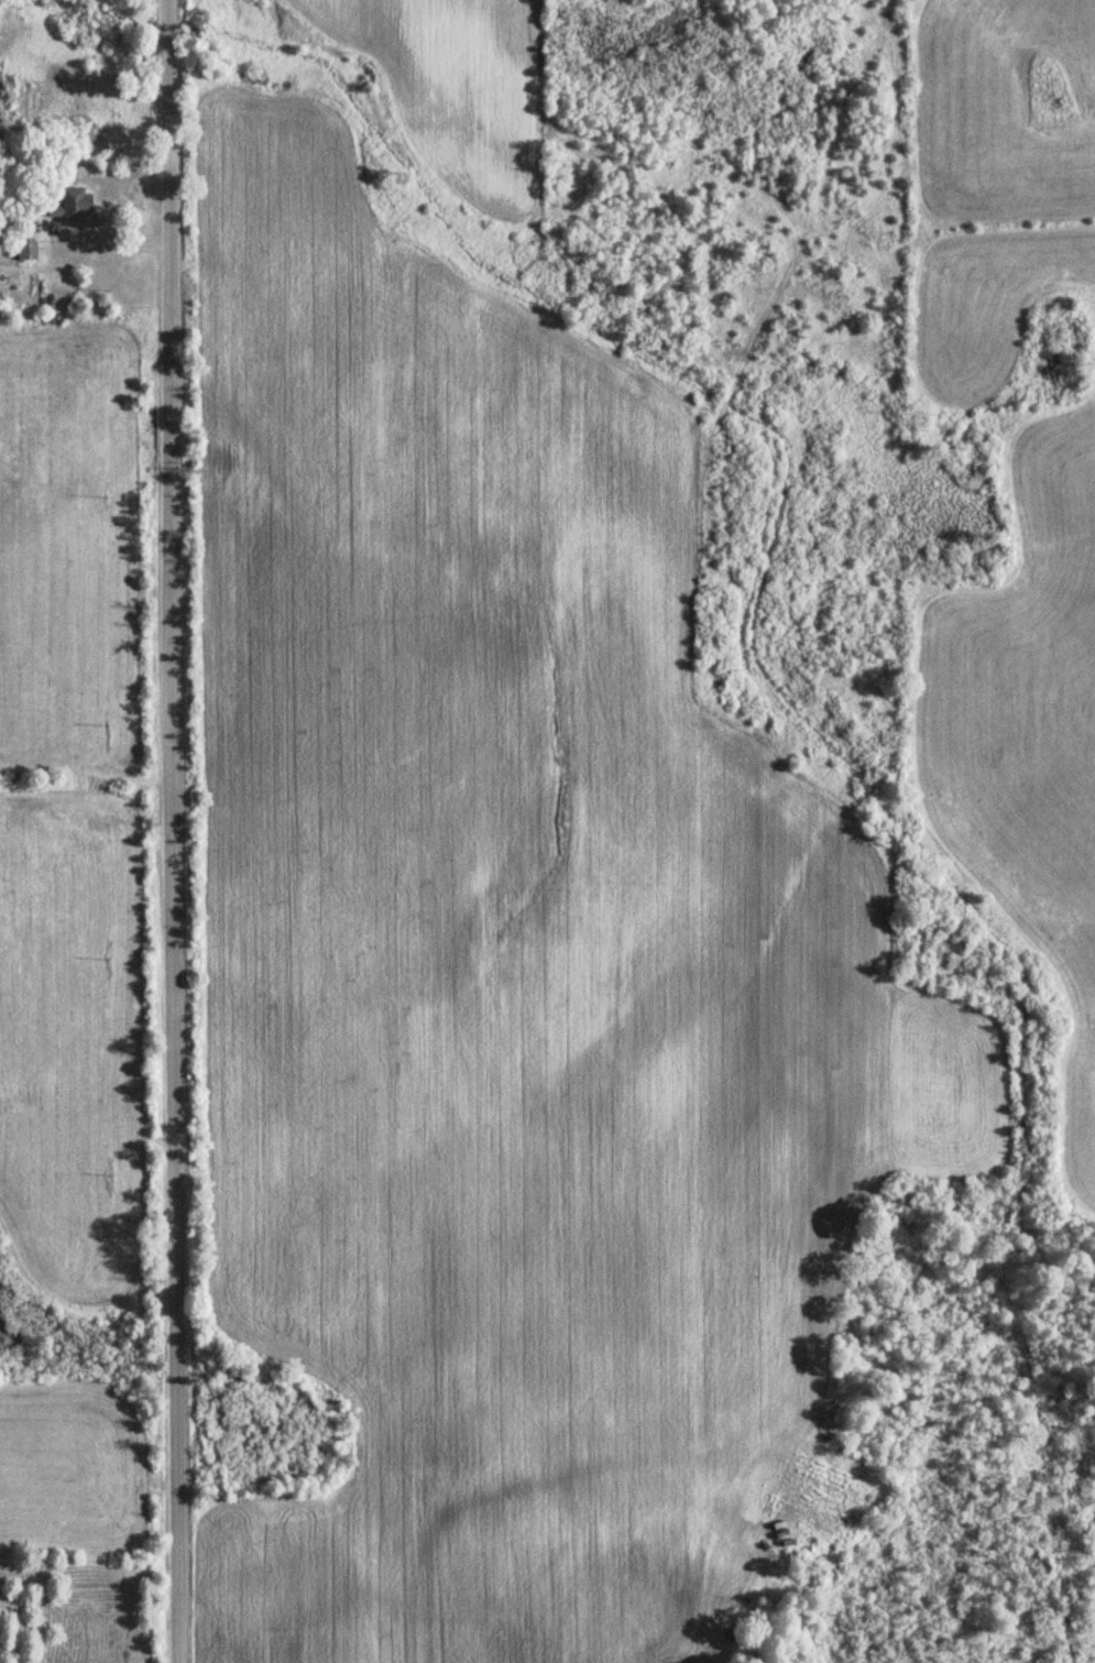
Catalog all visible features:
building: (68, 205)
building: (25, 250)
road: (151, 831)

